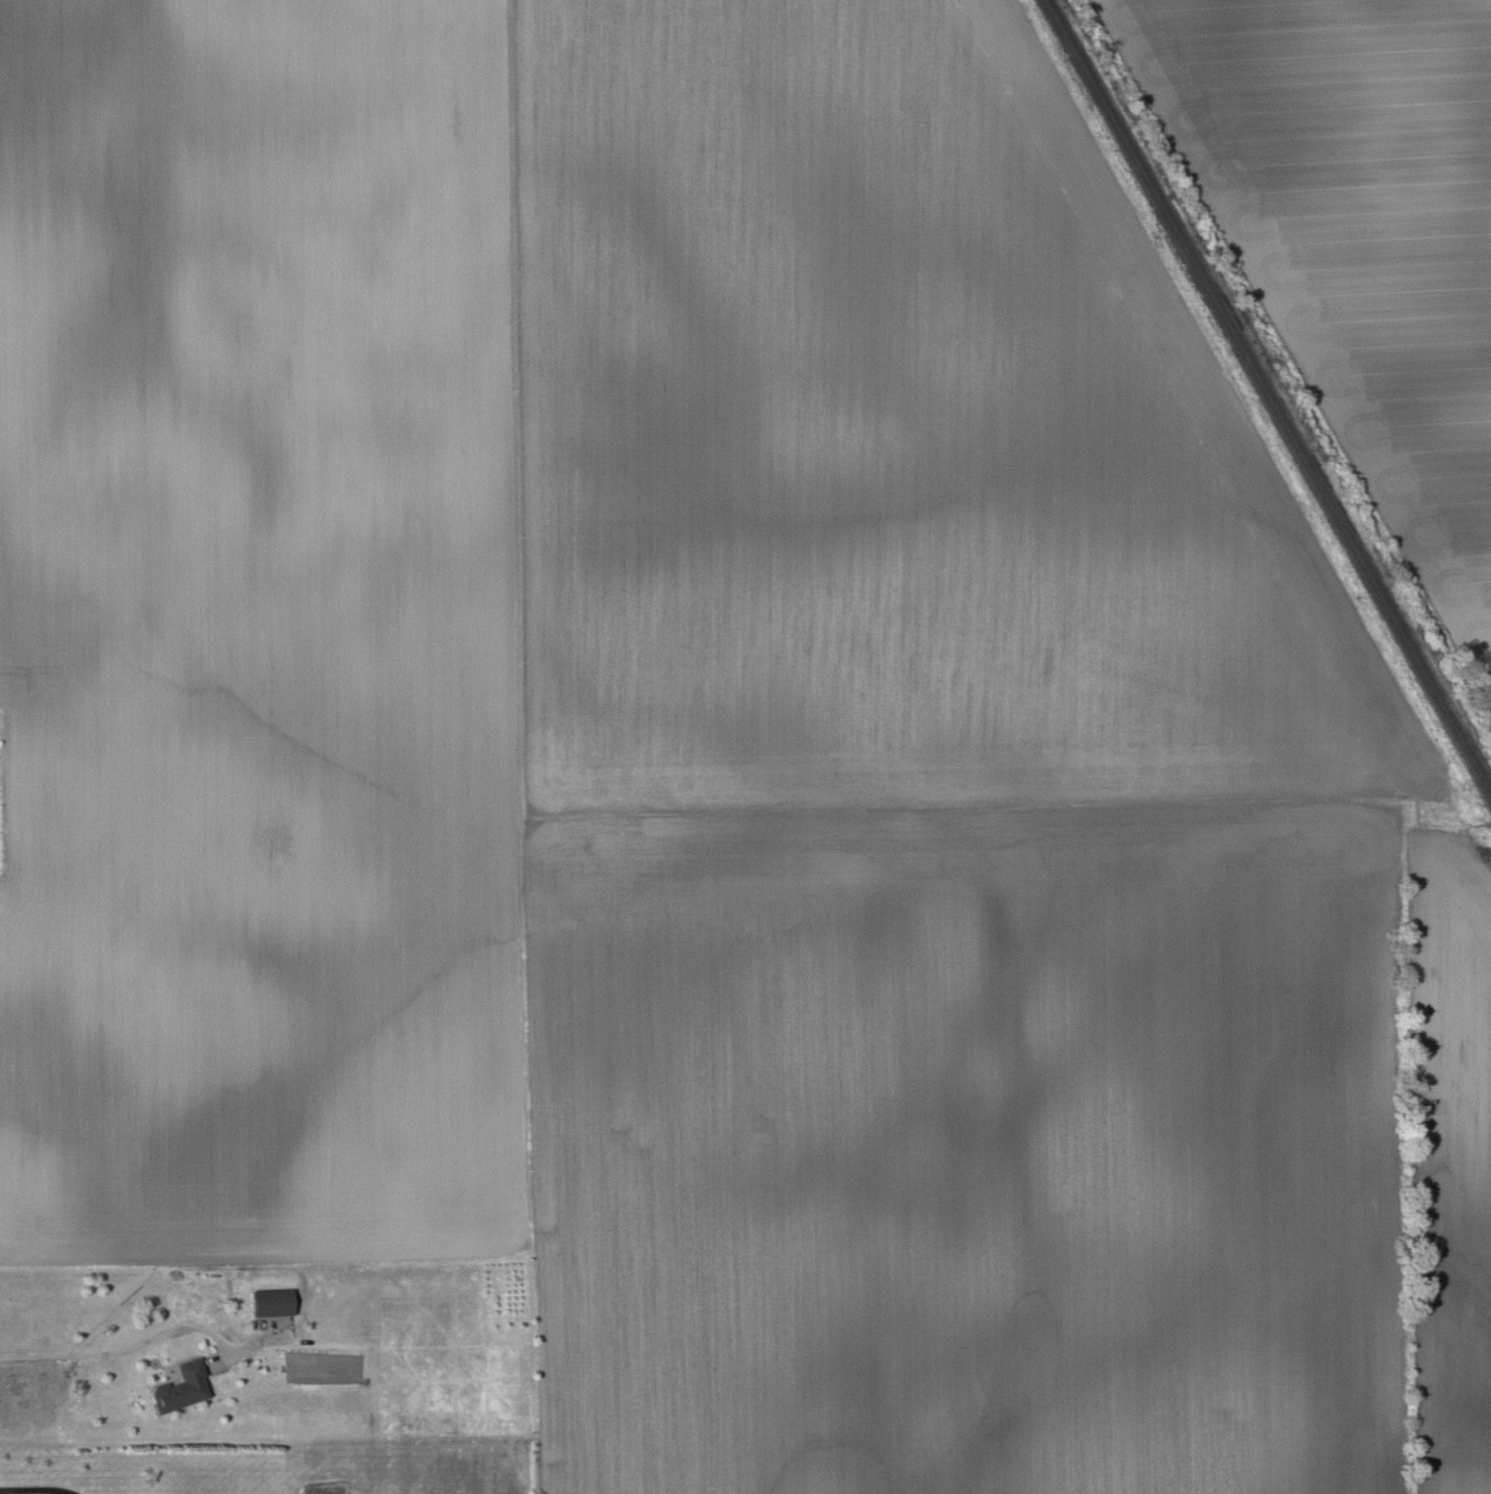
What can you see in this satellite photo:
railway: (1267, 398)
building: (270, 1302)
road: (125, 1346)
building: (179, 1387)
road: (37, 1489)

